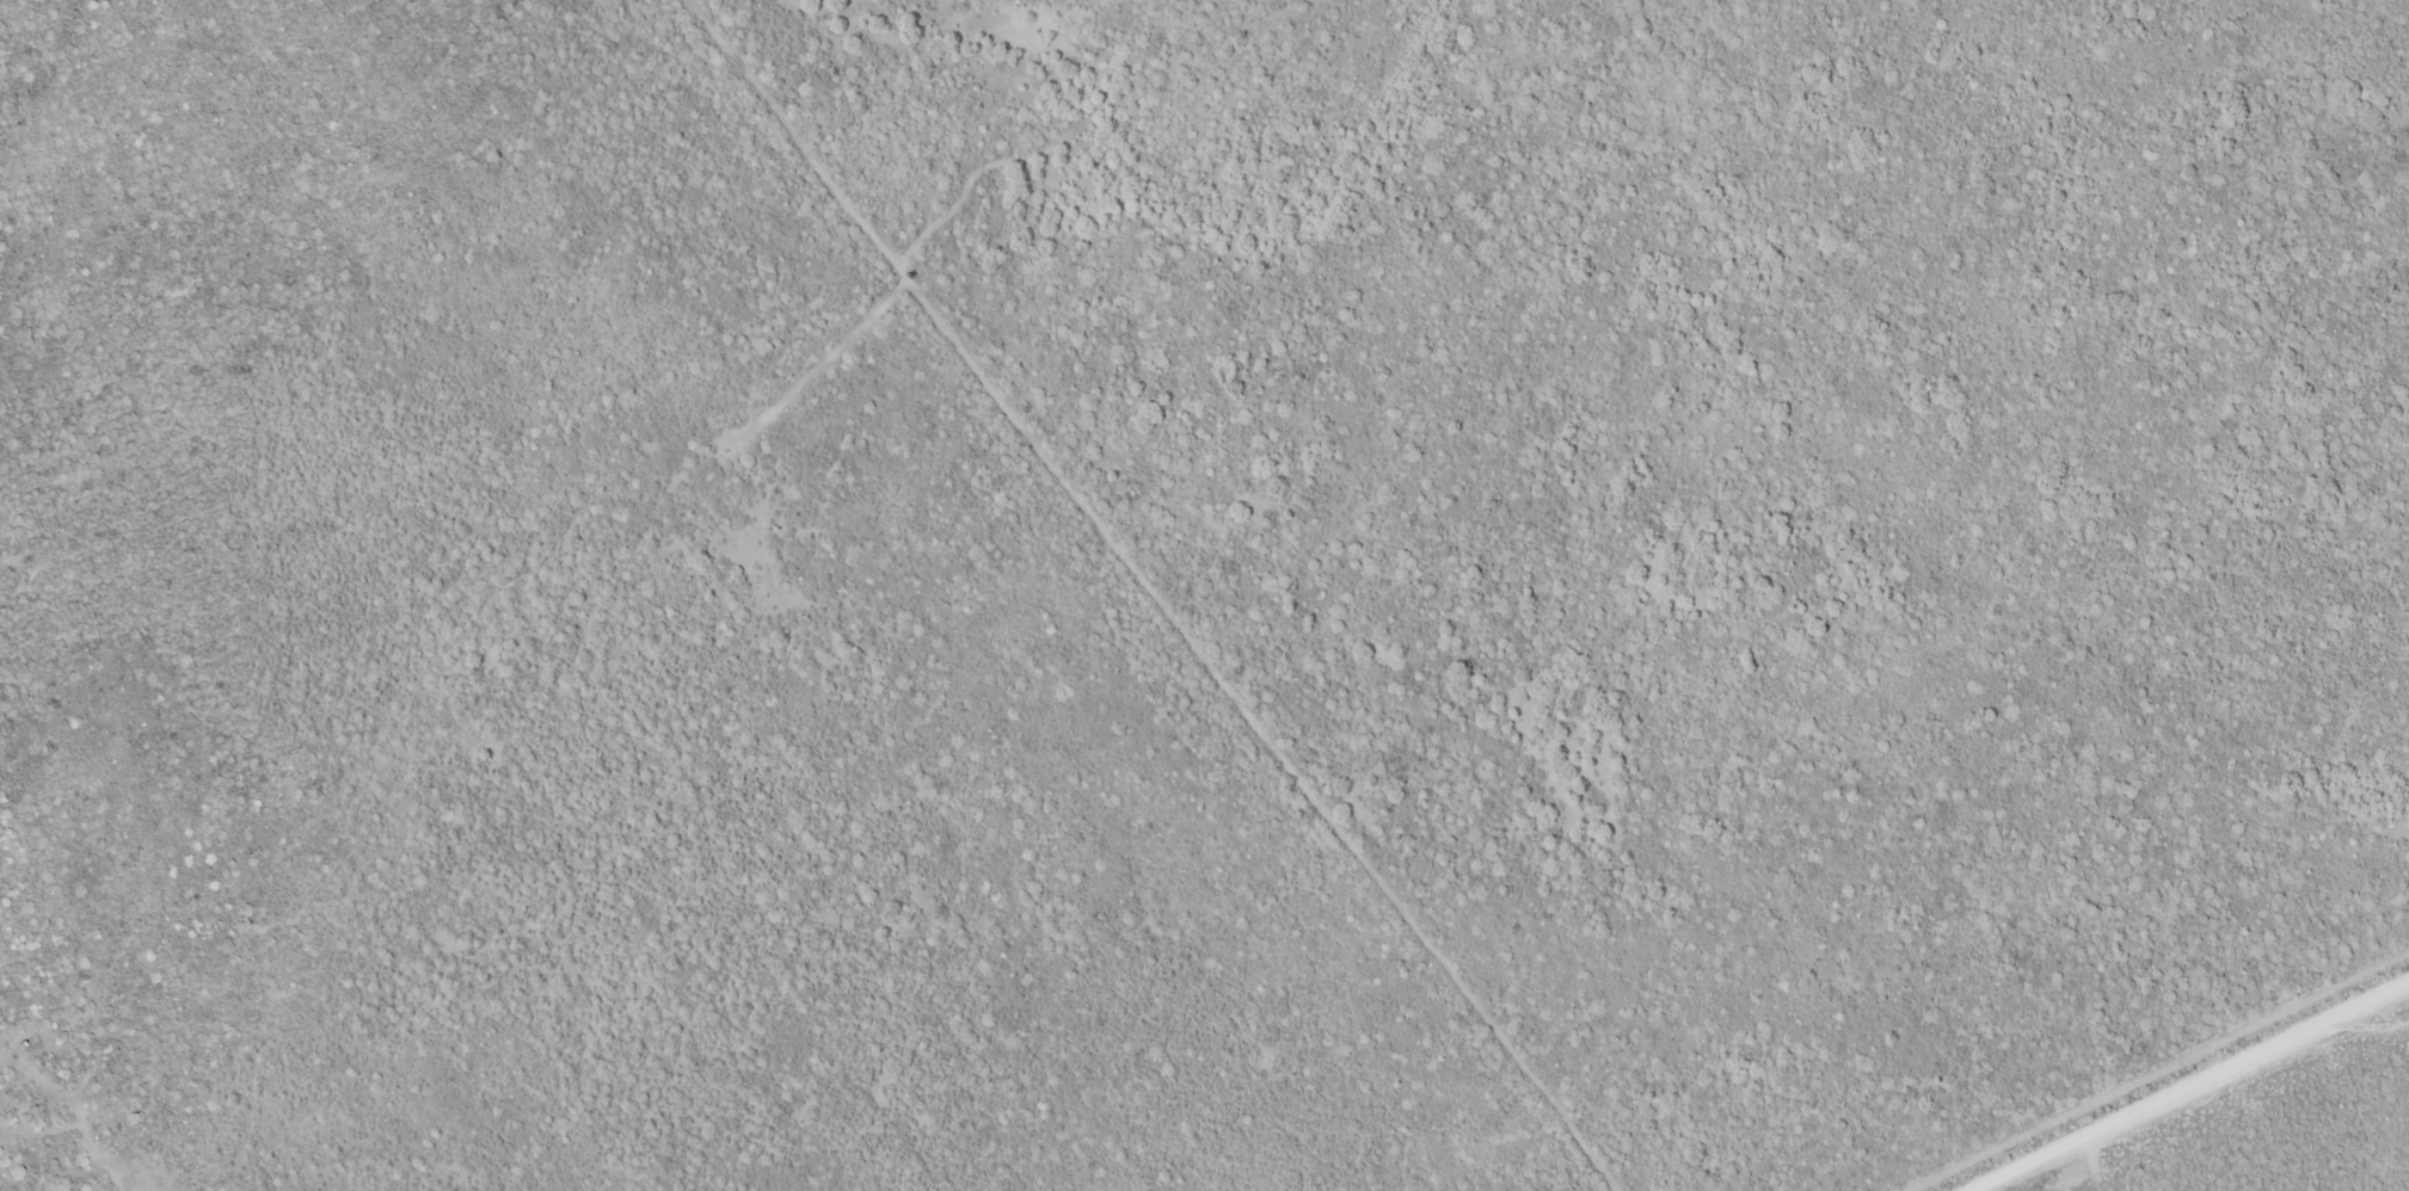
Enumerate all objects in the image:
road: (2188, 1086)

